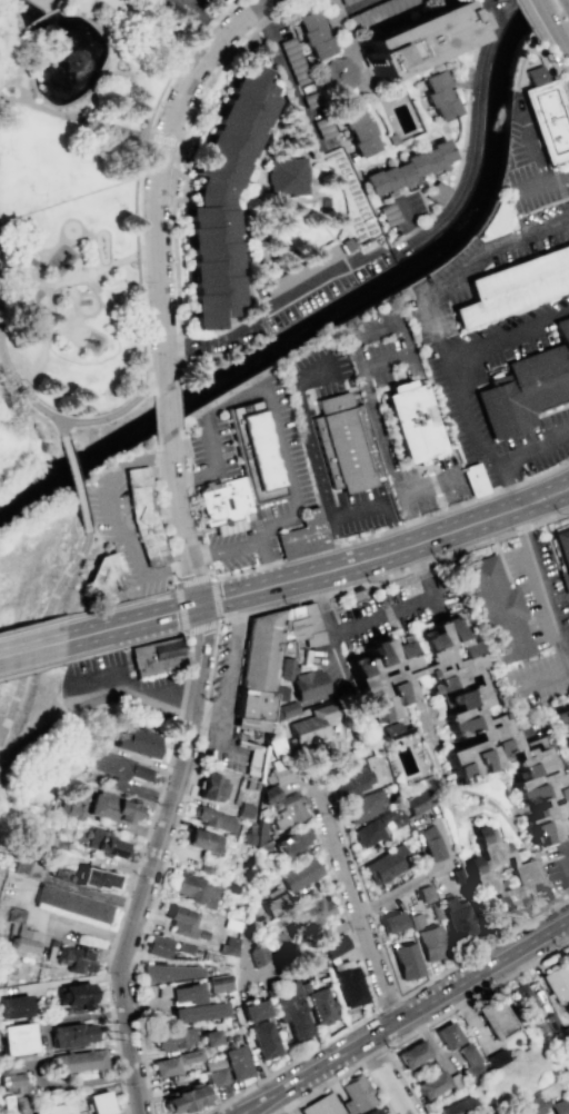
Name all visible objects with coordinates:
building: (495, 0)
road: (83, 1)
road: (84, 1)
building: (346, 1)
parking lot: (214, 2)
building: (41, 4)
road: (187, 4)
road: (197, 4)
road: (359, 4)
building: (377, 11)
parking lot: (174, 12)
road: (545, 12)
road: (527, 18)
road: (34, 19)
road: (209, 23)
road: (118, 27)
road: (10, 32)
building: (313, 33)
road: (143, 34)
building: (419, 38)
road: (560, 40)
road: (179, 60)
building: (295, 60)
road: (552, 67)
building: (338, 73)
building: (459, 76)
road: (289, 78)
road: (97, 84)
building: (438, 95)
building: (312, 99)
road: (34, 103)
building: (546, 115)
building: (325, 127)
building: (359, 129)
road: (153, 137)
building: (390, 138)
road: (471, 138)
road: (172, 141)
road: (176, 165)
road: (537, 166)
building: (408, 167)
parking lot: (530, 167)
road: (154, 169)
building: (289, 176)
road: (543, 180)
park: (86, 190)
road: (134, 191)
building: (435, 191)
building: (222, 195)
road: (173, 198)
building: (325, 202)
building: (387, 212)
road: (405, 221)
building: (348, 241)
road: (469, 261)
building: (300, 270)
road: (69, 280)
building: (513, 287)
road: (273, 310)
road: (560, 312)
road: (141, 320)
parking lot: (481, 326)
road: (377, 329)
road: (406, 335)
road: (43, 341)
road: (358, 351)
road: (387, 358)
road: (0, 361)
road: (449, 364)
road: (311, 380)
building: (528, 387)
road: (28, 400)
road: (177, 405)
road: (120, 409)
road: (167, 412)
road: (154, 417)
parking lot: (378, 421)
building: (408, 422)
parking lot: (283, 441)
building: (251, 442)
parking lot: (302, 442)
parking lot: (207, 448)
building: (346, 449)
parking lot: (533, 450)
road: (313, 451)
road: (66, 452)
road: (391, 454)
road: (515, 457)
road: (218, 470)
road: (289, 471)
parking lot: (489, 477)
building: (472, 481)
road: (431, 487)
road: (540, 487)
road: (77, 501)
road: (192, 504)
road: (543, 506)
road: (356, 509)
parking lot: (360, 513)
road: (154, 515)
building: (142, 517)
road: (113, 519)
road: (179, 524)
road: (393, 526)
building: (302, 535)
parking lot: (126, 540)
road: (247, 546)
building: (561, 553)
park: (57, 568)
road: (426, 570)
road: (395, 571)
building: (99, 578)
road: (292, 579)
road: (176, 586)
road: (542, 586)
road: (121, 601)
road: (50, 603)
road: (322, 604)
traffic signals: (198, 605)
building: (497, 611)
road: (386, 614)
parking lot: (393, 614)
road: (32, 623)
parking lot: (538, 629)
building: (277, 646)
road: (32, 647)
road: (199, 647)
building: (156, 657)
road: (31, 669)
road: (228, 669)
road: (545, 679)
building: (309, 684)
parking lot: (122, 686)
road: (127, 687)
parking lot: (223, 703)
building: (252, 708)
road: (9, 709)
building: (286, 710)
road: (64, 713)
road: (207, 716)
building: (463, 719)
building: (313, 723)
building: (563, 725)
building: (390, 728)
road: (180, 729)
road: (190, 732)
building: (137, 744)
road: (7, 755)
building: (253, 757)
building: (117, 770)
building: (280, 772)
building: (353, 782)
road: (307, 784)
building: (210, 788)
building: (270, 794)
building: (418, 800)
building: (365, 805)
building: (73, 806)
building: (110, 808)
building: (289, 810)
road: (152, 814)
building: (211, 819)
building: (378, 826)
building: (201, 842)
building: (293, 842)
building: (430, 843)
building: (104, 845)
road: (567, 849)
building: (22, 861)
building: (385, 865)
parking lot: (557, 865)
road: (162, 866)
road: (566, 871)
building: (501, 874)
building: (298, 875)
building: (93, 879)
building: (194, 891)
building: (425, 894)
building: (272, 903)
building: (70, 906)
road: (355, 908)
building: (433, 911)
building: (307, 914)
building: (457, 921)
building: (413, 922)
building: (180, 923)
building: (390, 924)
road: (127, 939)
building: (20, 943)
road: (310, 943)
building: (429, 944)
building: (228, 947)
building: (332, 947)
building: (157, 948)
building: (182, 949)
building: (256, 956)
building: (567, 956)
building: (73, 961)
building: (405, 962)
building: (167, 974)
building: (557, 979)
building: (217, 985)
building: (346, 987)
building: (184, 995)
building: (72, 998)
building: (520, 998)
road: (386, 1003)
building: (13, 1007)
building: (318, 1007)
building: (252, 1011)
road: (468, 1012)
building: (197, 1013)
road: (443, 1013)
building: (290, 1018)
road: (407, 1018)
building: (495, 1018)
building: (551, 1022)
building: (447, 1034)
building: (70, 1035)
building: (566, 1037)
building: (208, 1038)
building: (16, 1040)
building: (171, 1040)
building: (261, 1041)
building: (411, 1053)
road: (371, 1055)
building: (495, 1057)
building: (469, 1061)
building: (79, 1062)
building: (236, 1063)
building: (173, 1064)
road: (341, 1073)
road: (388, 1076)
building: (214, 1077)
building: (14, 1084)
building: (431, 1084)
building: (355, 1093)
building: (181, 1100)
building: (98, 1104)
building: (77, 1105)
building: (320, 1105)
building: (531, 1105)
building: (456, 1106)
building: (558, 1106)
building: (10, 1107)
building: (54, 1110)
building: (370, 1111)

